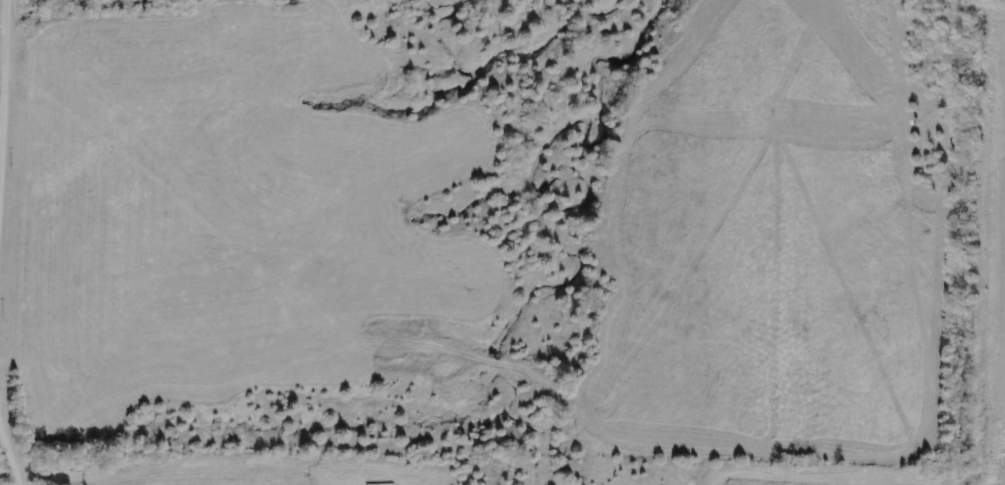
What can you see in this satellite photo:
road: (22, 243)

